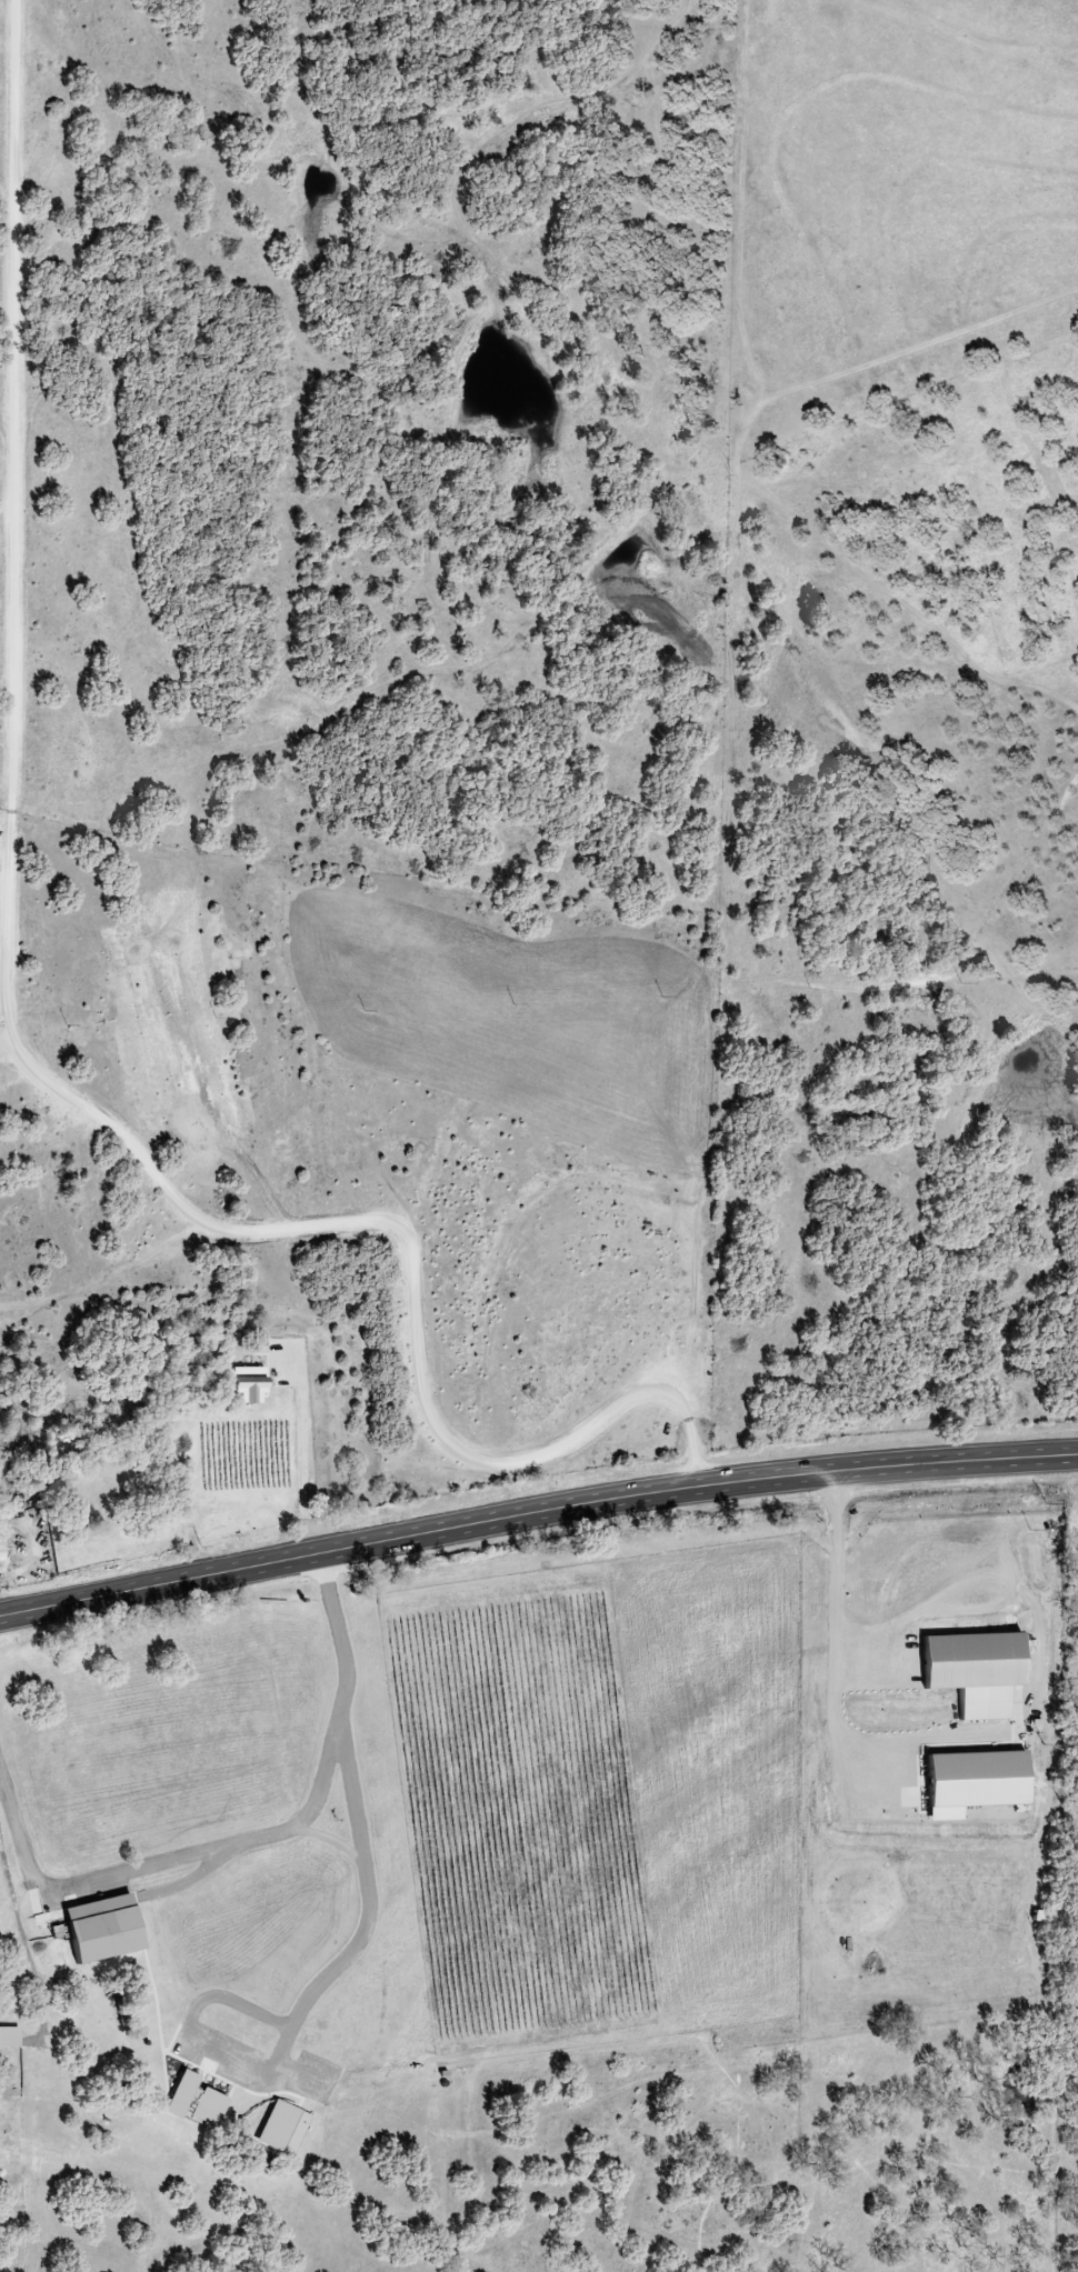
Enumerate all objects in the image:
road: (289, 1460)
road: (535, 1511)
building: (230, 1518)
building: (0, 1565)
road: (822, 1642)
road: (251, 1838)
road: (359, 1910)

